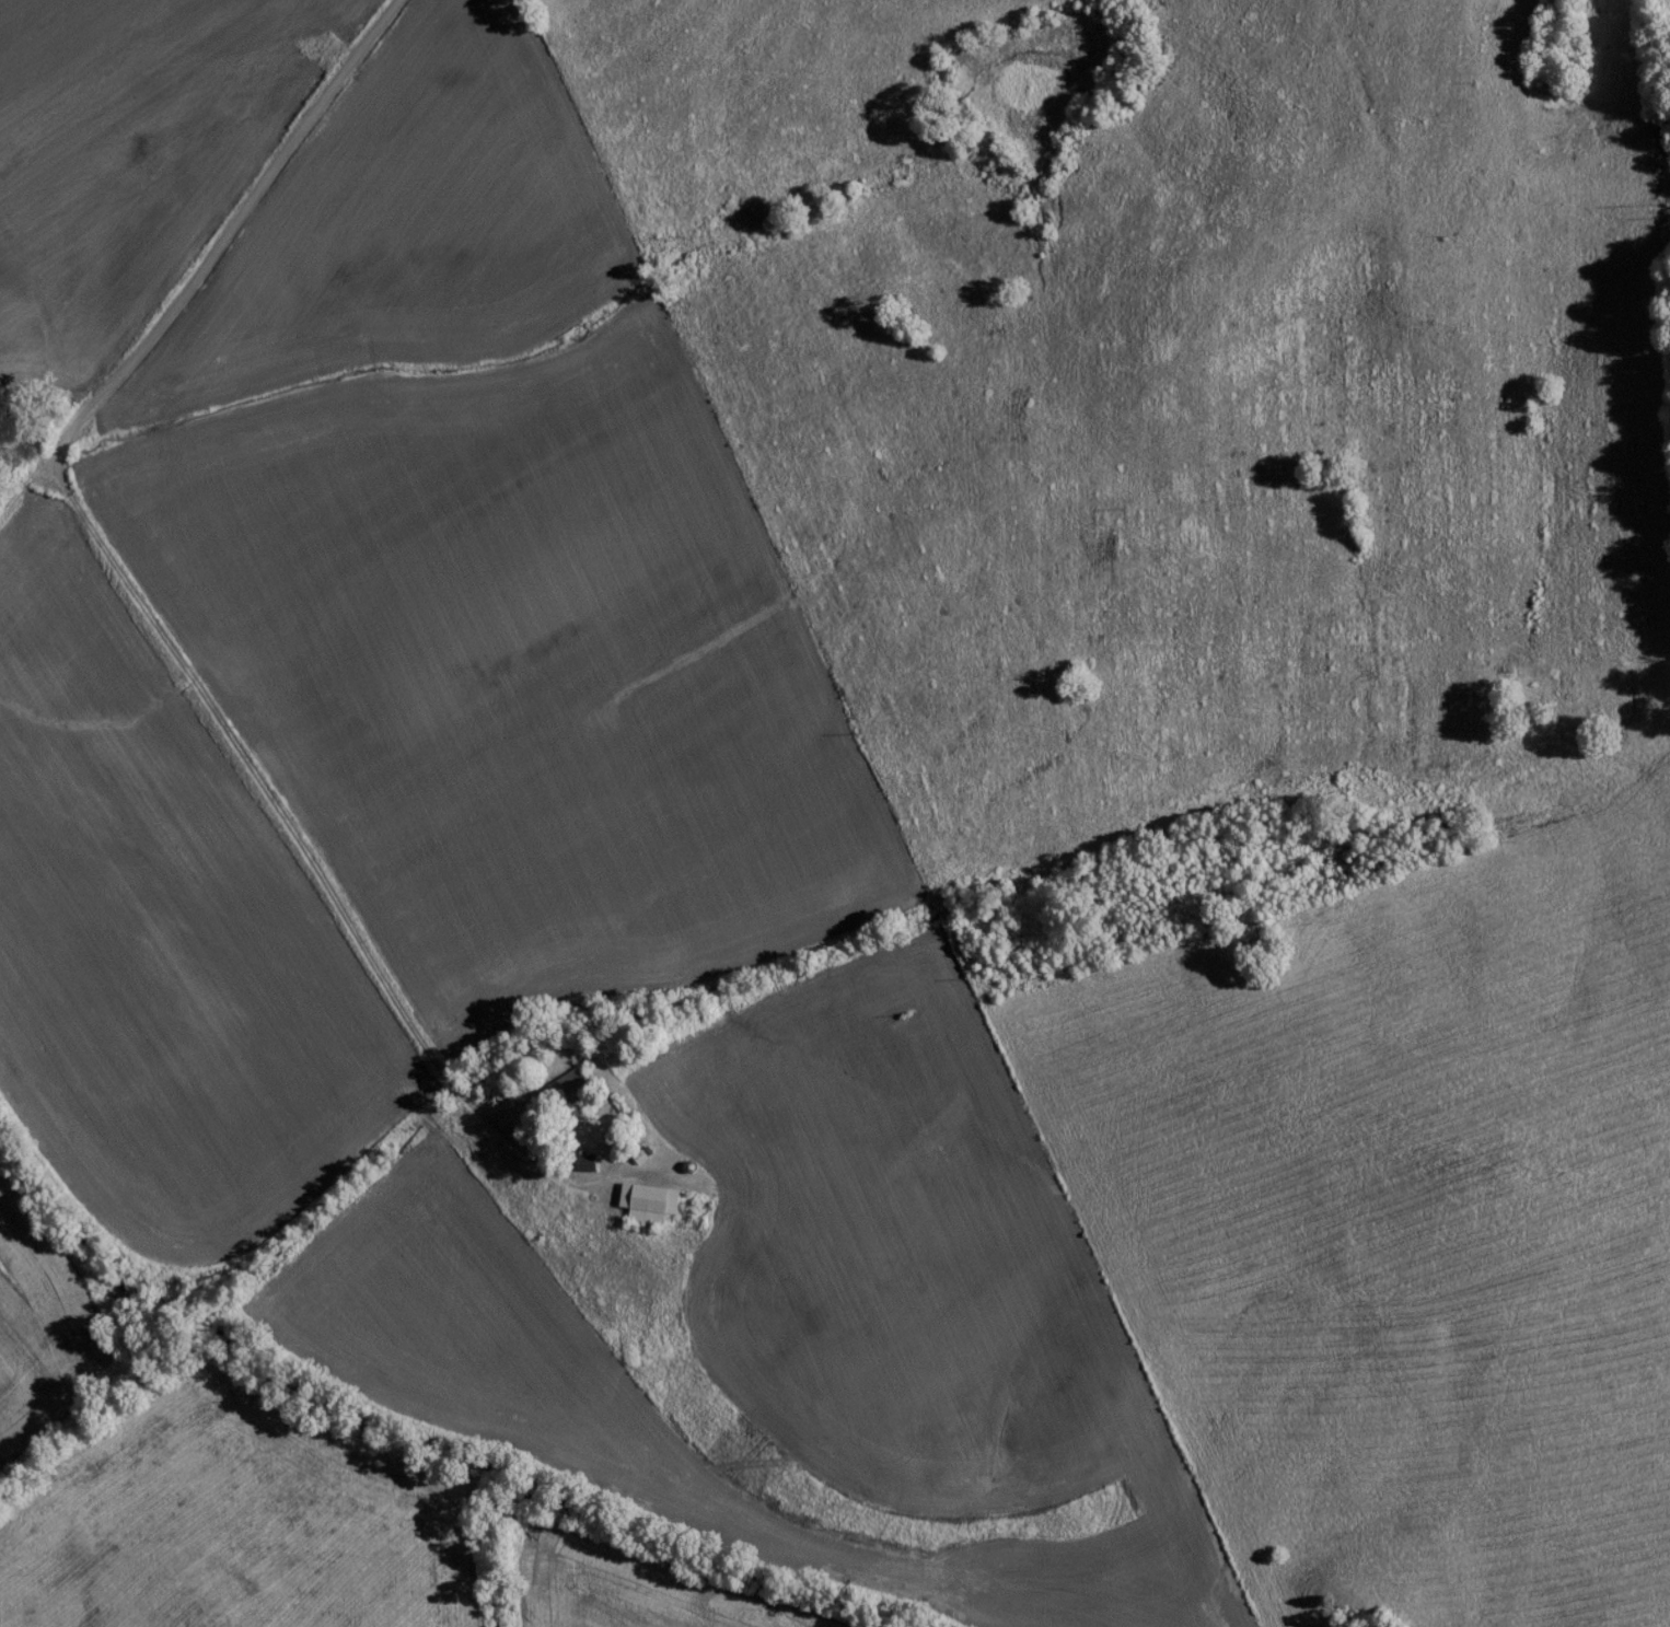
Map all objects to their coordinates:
road: (230, 231)
road: (214, 768)
building: (572, 1085)
building: (653, 1201)

